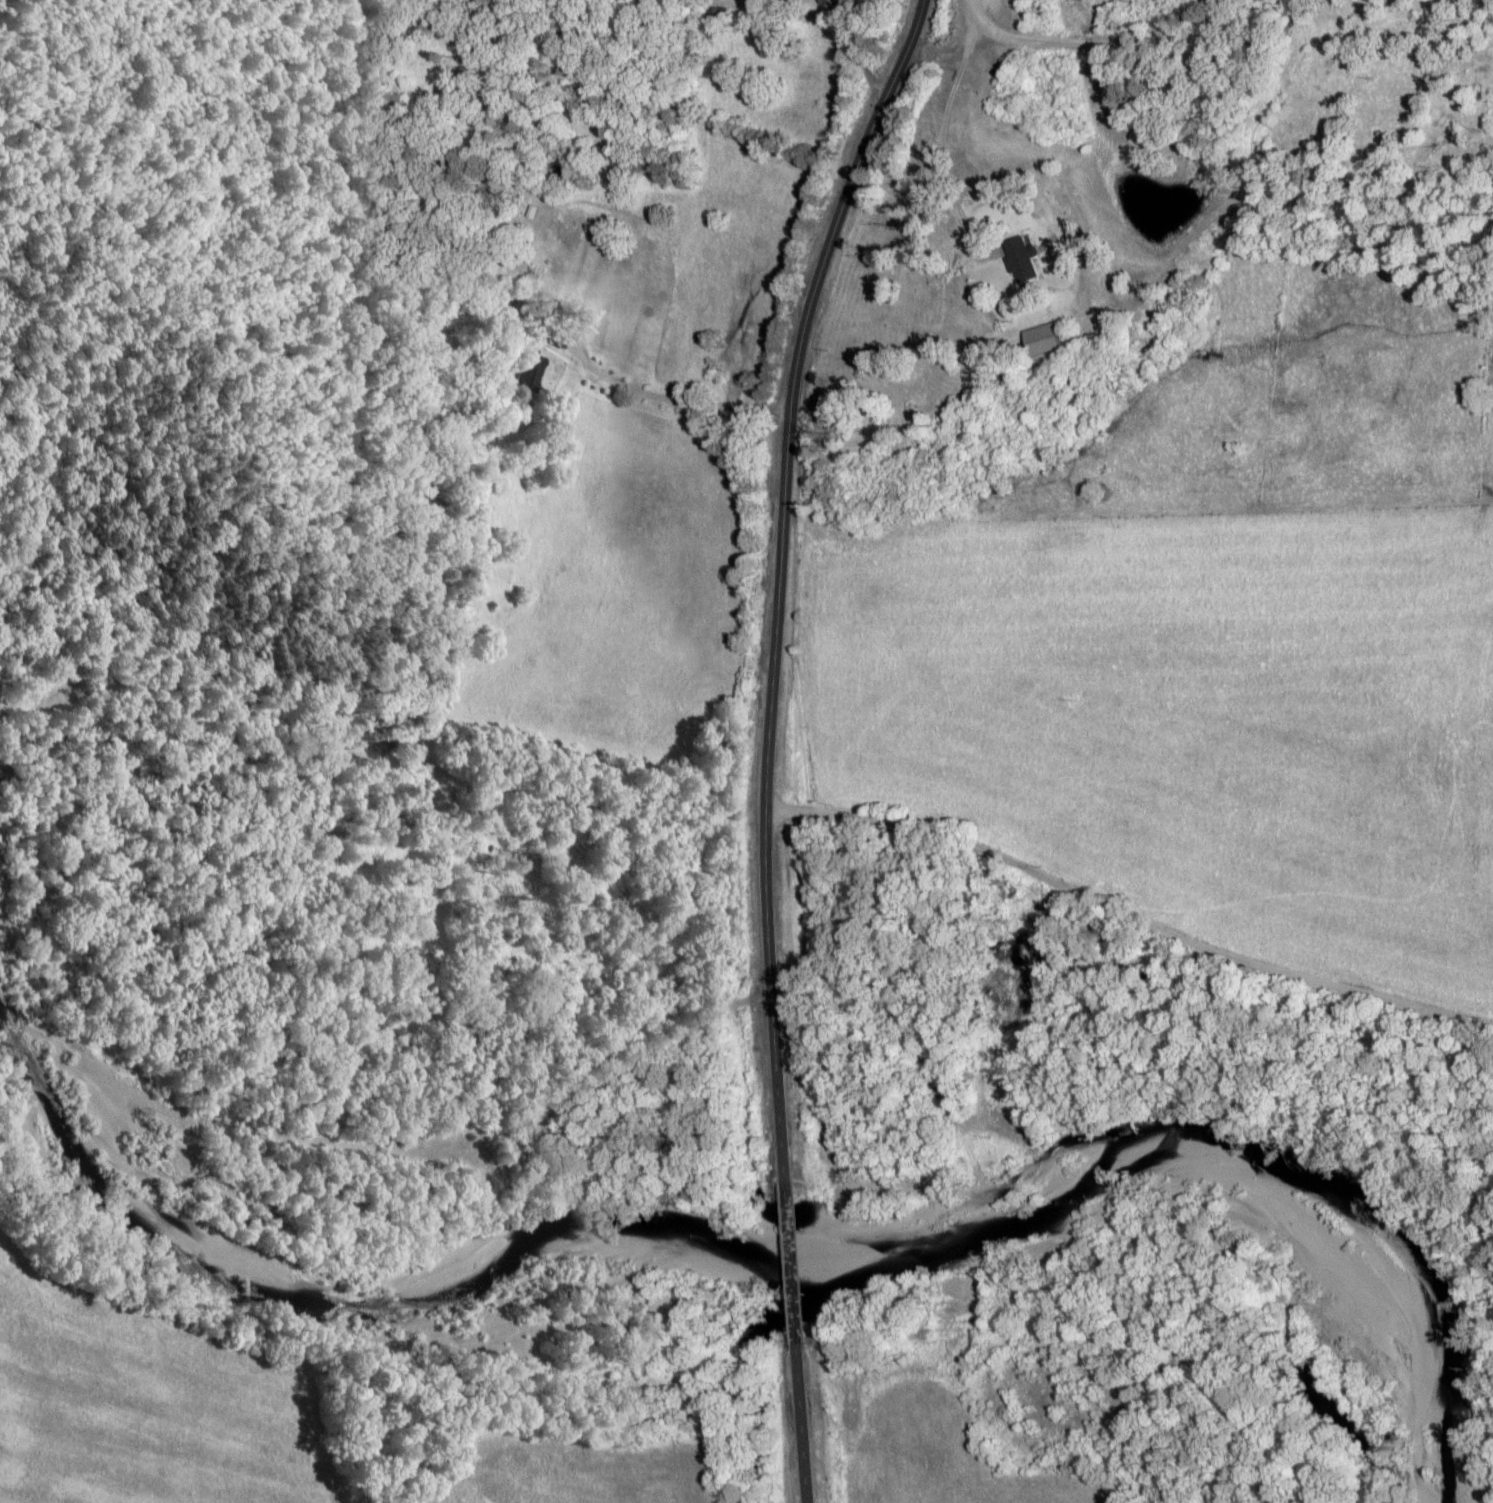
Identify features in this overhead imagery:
building: (820, 1)
road: (1098, 46)
road: (960, 53)
building: (1016, 259)
building: (534, 369)
road: (777, 578)
road: (804, 862)
road: (1129, 918)
road: (795, 1262)
road: (808, 1424)
road: (1133, 1458)

